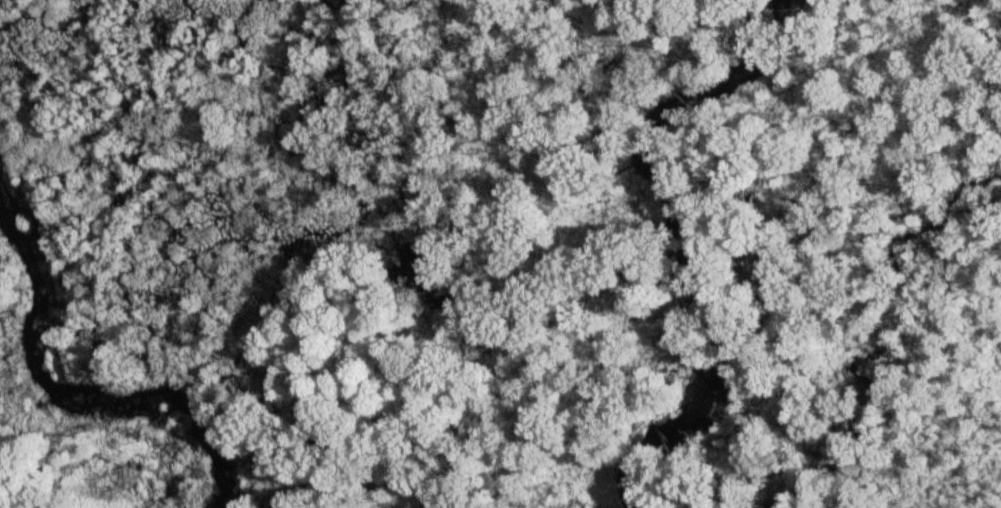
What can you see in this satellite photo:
river: (682, 253)

